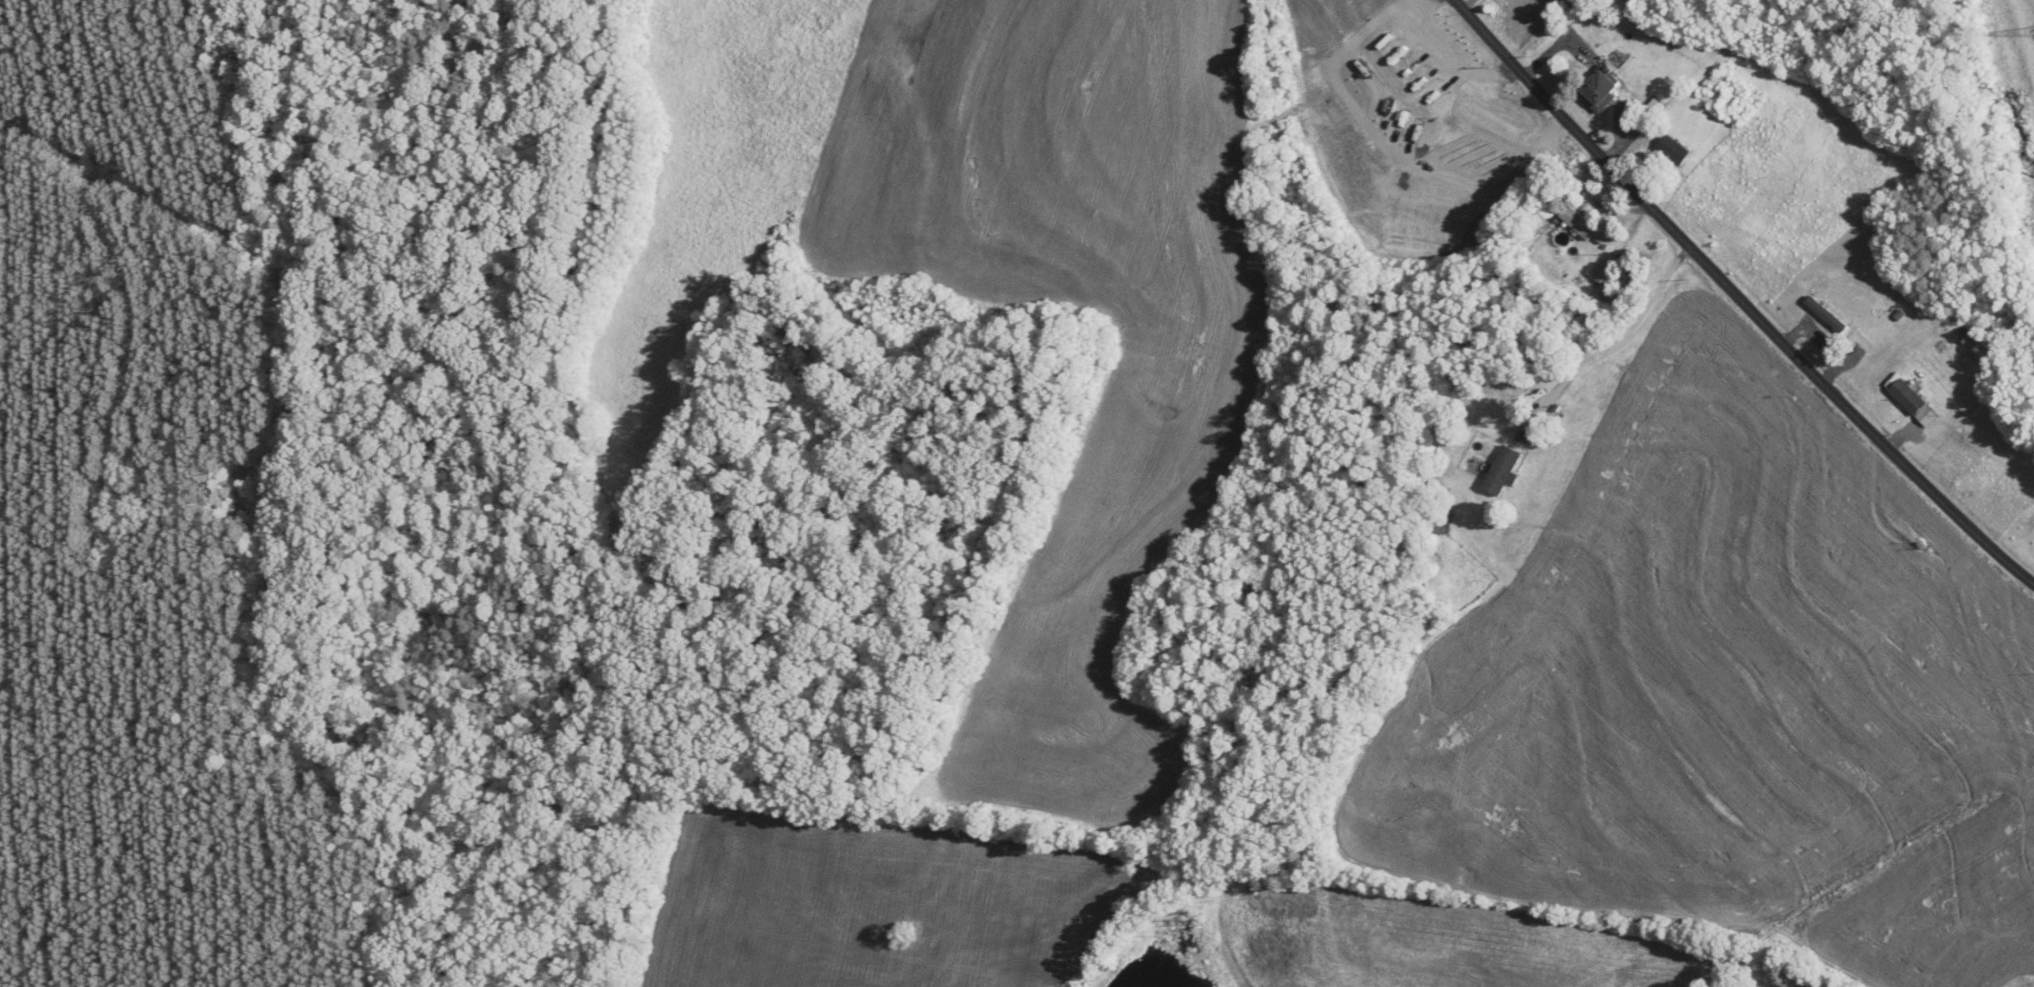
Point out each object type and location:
road: (1466, 3)
road: (1462, 61)
building: (1601, 91)
building: (1656, 108)
road: (1395, 150)
building: (1673, 150)
building: (1578, 223)
building: (1604, 277)
road: (1739, 297)
road: (1629, 336)
building: (1909, 397)
building: (1504, 471)
building: (1438, 518)

